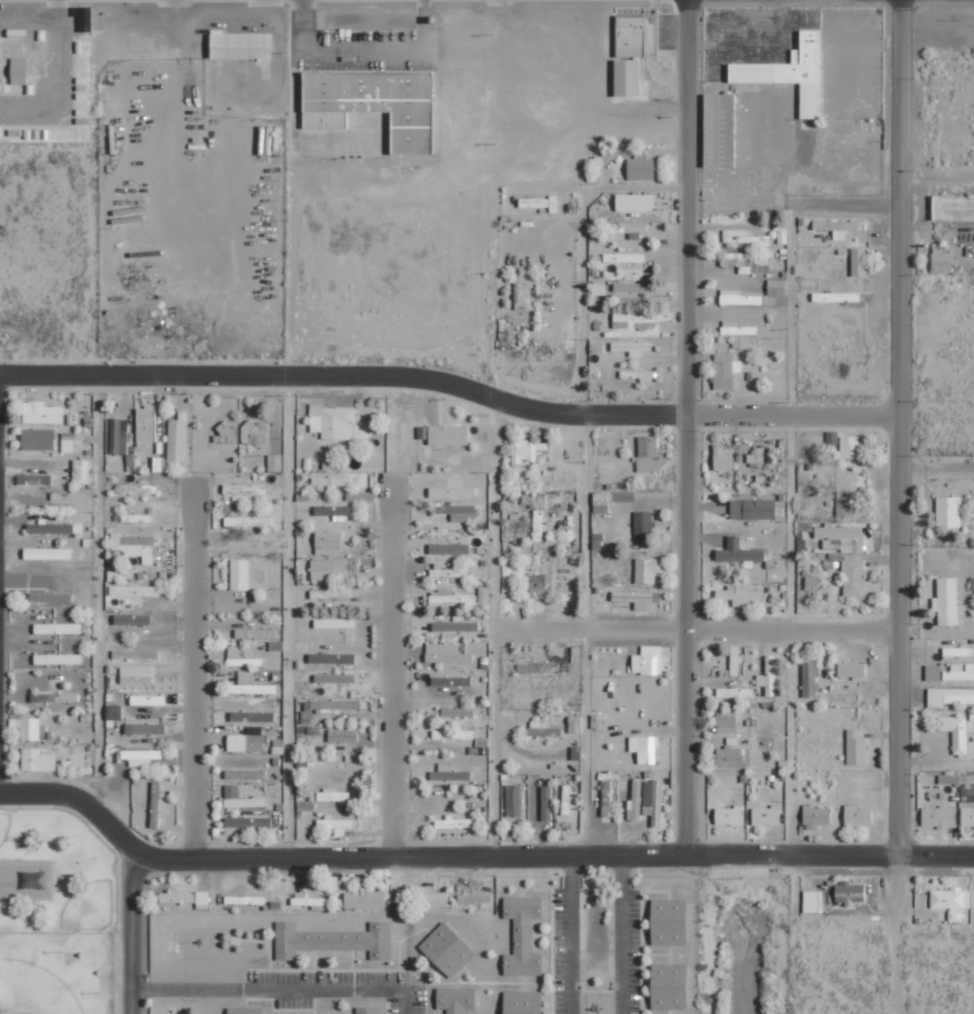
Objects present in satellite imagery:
building: (238, 46)
road: (361, 50)
parking lot: (365, 52)
building: (627, 53)
building: (790, 72)
building: (355, 91)
building: (378, 91)
building: (322, 99)
building: (409, 113)
building: (720, 130)
building: (616, 152)
building: (641, 164)
building: (540, 202)
building: (634, 202)
road: (684, 207)
building: (953, 207)
building: (836, 225)
building: (624, 230)
building: (624, 257)
building: (941, 260)
building: (858, 261)
building: (776, 286)
building: (633, 287)
building: (599, 289)
building: (521, 296)
building: (738, 297)
building: (835, 297)
road: (582, 318)
building: (632, 319)
building: (734, 328)
building: (503, 330)
building: (741, 343)
building: (632, 347)
building: (724, 370)
building: (639, 375)
road: (146, 377)
road: (490, 397)
building: (42, 413)
road: (793, 415)
building: (332, 421)
building: (146, 424)
road: (900, 426)
building: (228, 431)
building: (254, 433)
building: (448, 434)
building: (119, 436)
building: (831, 437)
building: (177, 438)
building: (37, 439)
building: (67, 442)
building: (849, 448)
building: (528, 450)
building: (648, 454)
building: (756, 455)
building: (722, 457)
building: (274, 462)
building: (80, 471)
building: (34, 479)
building: (328, 481)
building: (245, 488)
building: (136, 489)
building: (452, 491)
building: (67, 496)
building: (609, 500)
building: (844, 506)
building: (455, 508)
building: (752, 509)
building: (333, 511)
building: (948, 512)
road: (498, 514)
building: (136, 518)
building: (248, 521)
building: (539, 525)
building: (643, 525)
building: (805, 526)
building: (54, 528)
road: (788, 530)
building: (840, 537)
building: (327, 542)
building: (130, 543)
building: (449, 548)
building: (738, 551)
building: (47, 553)
building: (335, 569)
building: (647, 569)
building: (447, 571)
building: (239, 574)
building: (853, 578)
building: (811, 581)
building: (972, 583)
building: (541, 584)
building: (134, 591)
building: (331, 593)
building: (742, 596)
building: (50, 597)
road: (96, 597)
building: (450, 598)
building: (637, 599)
building: (946, 601)
road: (287, 618)
building: (132, 619)
building: (334, 623)
building: (455, 626)
building: (57, 628)
road: (699, 629)
building: (256, 633)
road: (687, 635)
road: (585, 638)
building: (276, 645)
building: (958, 651)
building: (446, 653)
building: (136, 654)
building: (241, 657)
building: (332, 658)
building: (57, 659)
building: (735, 660)
building: (648, 661)
road: (194, 670)
building: (851, 670)
building: (933, 672)
building: (959, 672)
building: (136, 674)
road: (392, 675)
building: (770, 675)
building: (335, 678)
building: (809, 679)
building: (450, 681)
building: (250, 684)
building: (733, 692)
building: (54, 697)
building: (949, 697)
building: (147, 700)
building: (325, 707)
building: (457, 712)
building: (113, 714)
building: (252, 716)
building: (726, 720)
building: (597, 721)
building: (574, 724)
building: (28, 729)
building: (145, 729)
building: (543, 729)
building: (955, 732)
building: (453, 734)
building: (342, 735)
building: (246, 743)
road: (498, 744)
building: (480, 747)
building: (856, 748)
building: (644, 749)
building: (733, 756)
building: (138, 757)
building: (37, 760)
building: (449, 773)
building: (245, 774)
building: (949, 779)
building: (967, 792)
building: (332, 795)
building: (240, 798)
building: (606, 798)
building: (565, 799)
building: (514, 801)
building: (646, 801)
building: (156, 802)
building: (546, 803)
building: (729, 815)
building: (766, 815)
building: (816, 816)
building: (857, 816)
building: (938, 817)
building: (967, 817)
building: (248, 822)
building: (337, 824)
road: (133, 855)
road: (164, 857)
road: (584, 857)
building: (849, 892)
building: (177, 896)
building: (432, 896)
building: (474, 897)
building: (364, 898)
building: (245, 899)
building: (307, 899)
building: (202, 900)
building: (811, 900)
building: (951, 900)
building: (669, 921)
building: (522, 936)
building: (333, 939)
building: (447, 949)
building: (669, 986)
building: (456, 999)
building: (523, 1002)
building: (244, 1010)
building: (368, 1010)

